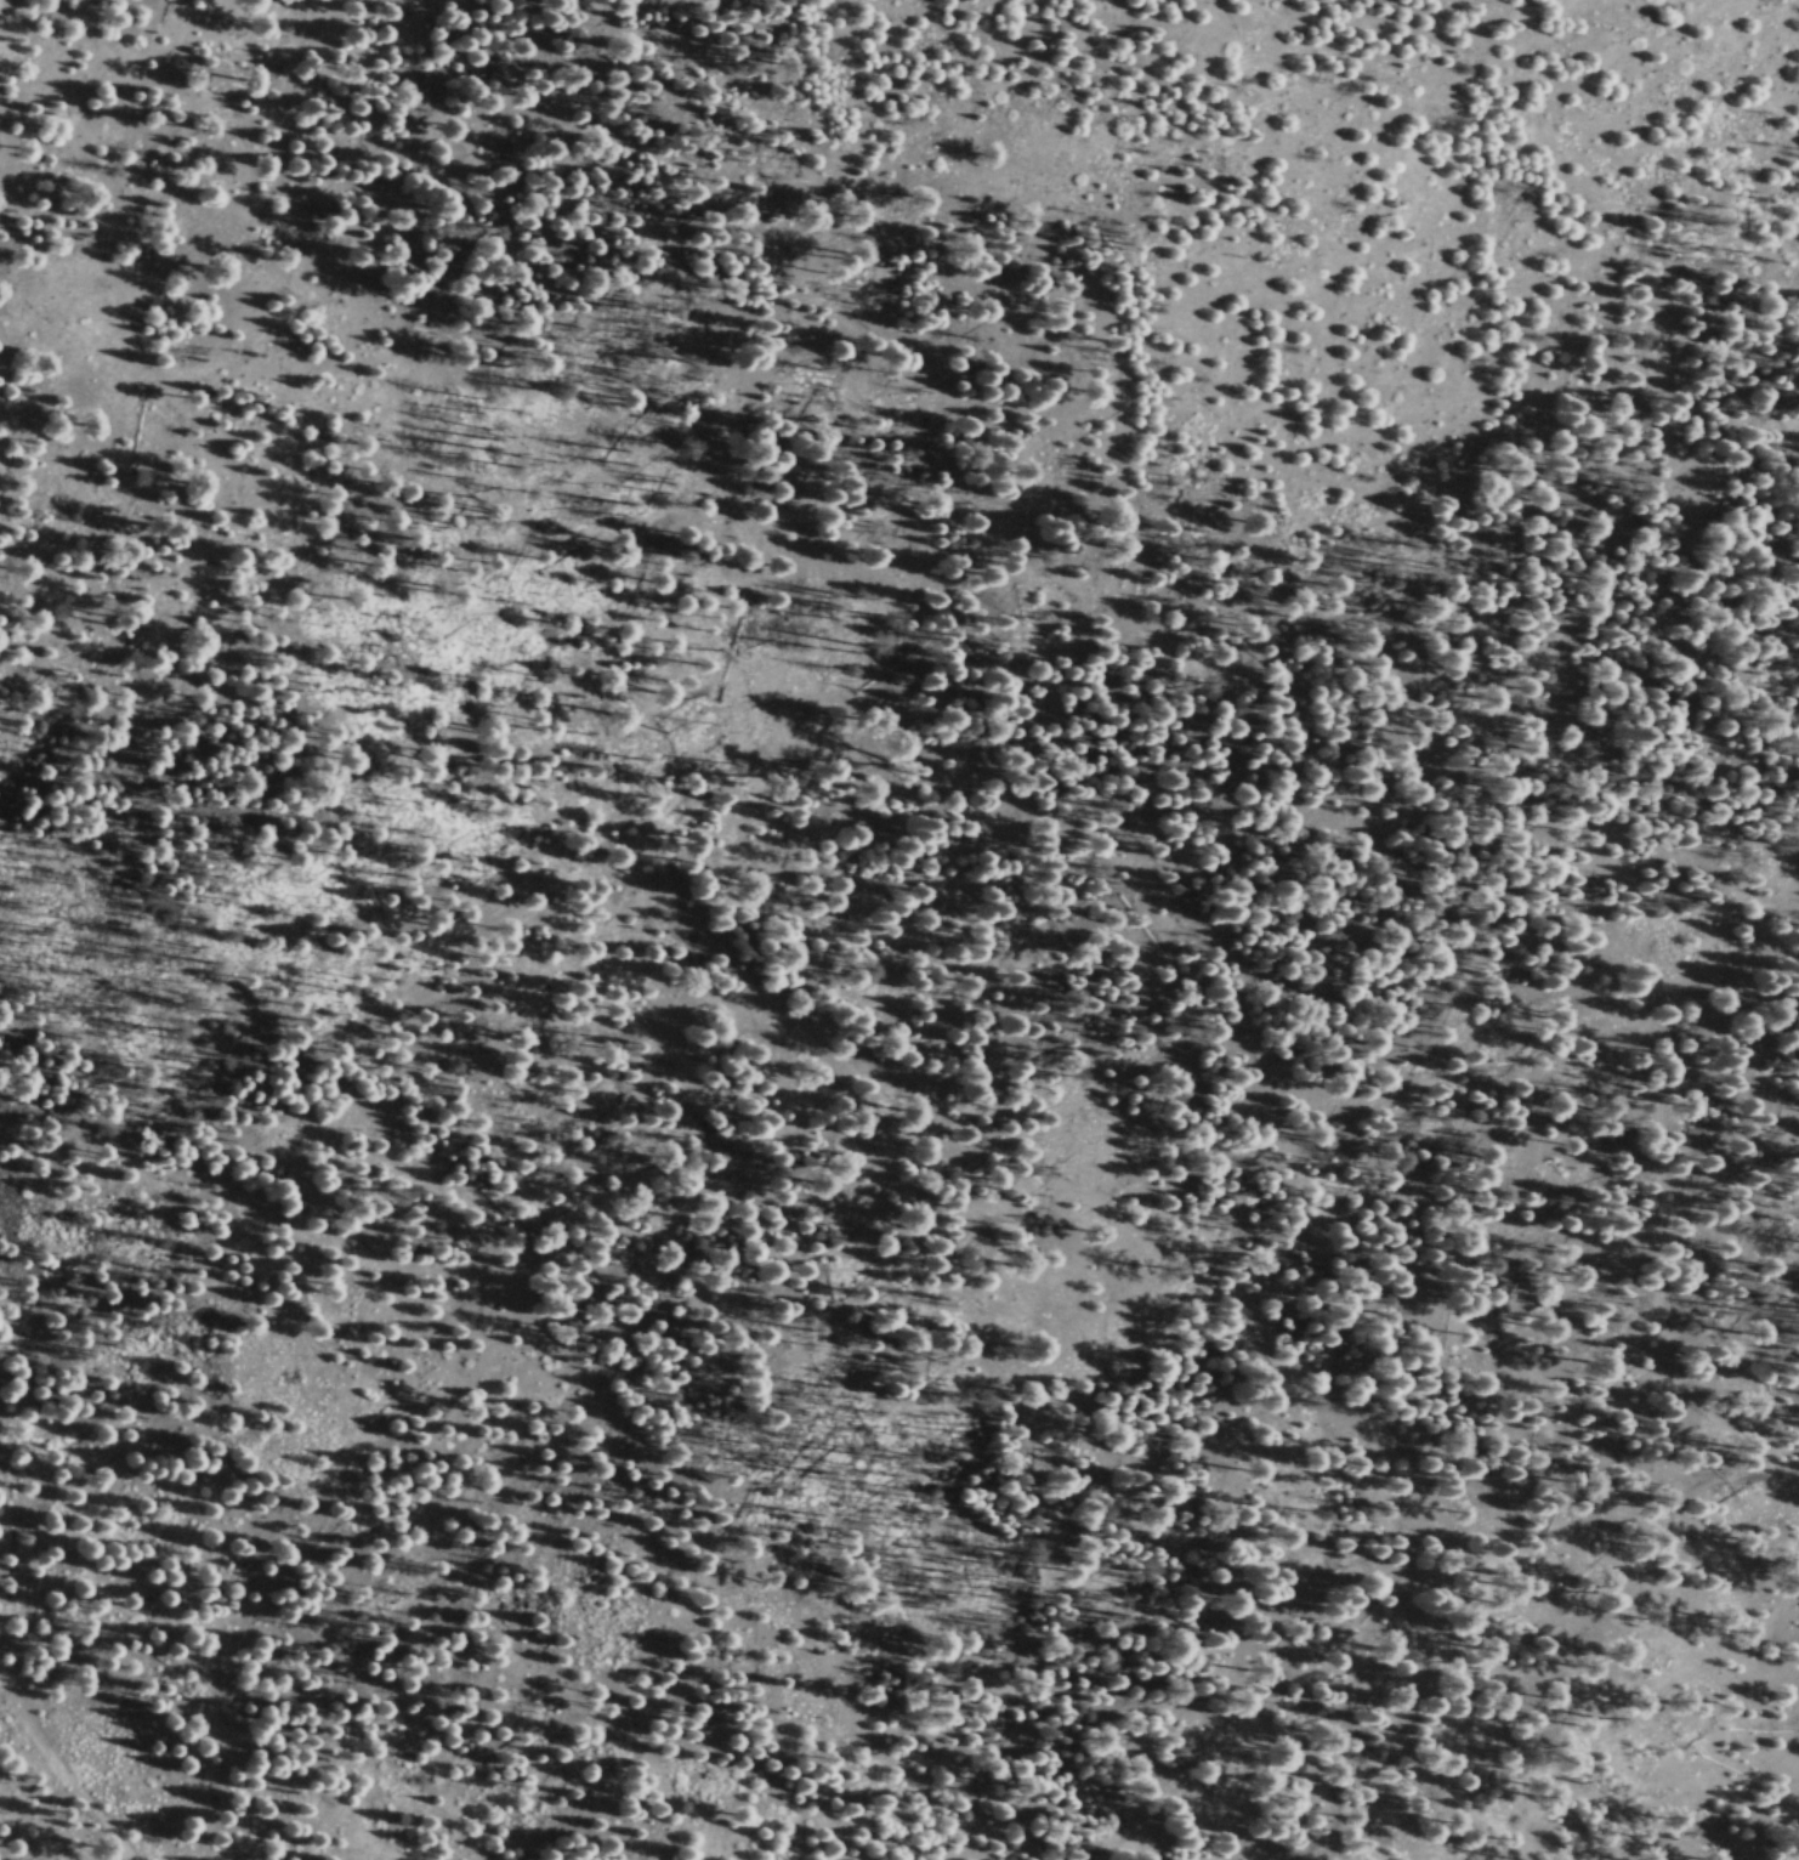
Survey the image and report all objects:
road: (67, 1764)

